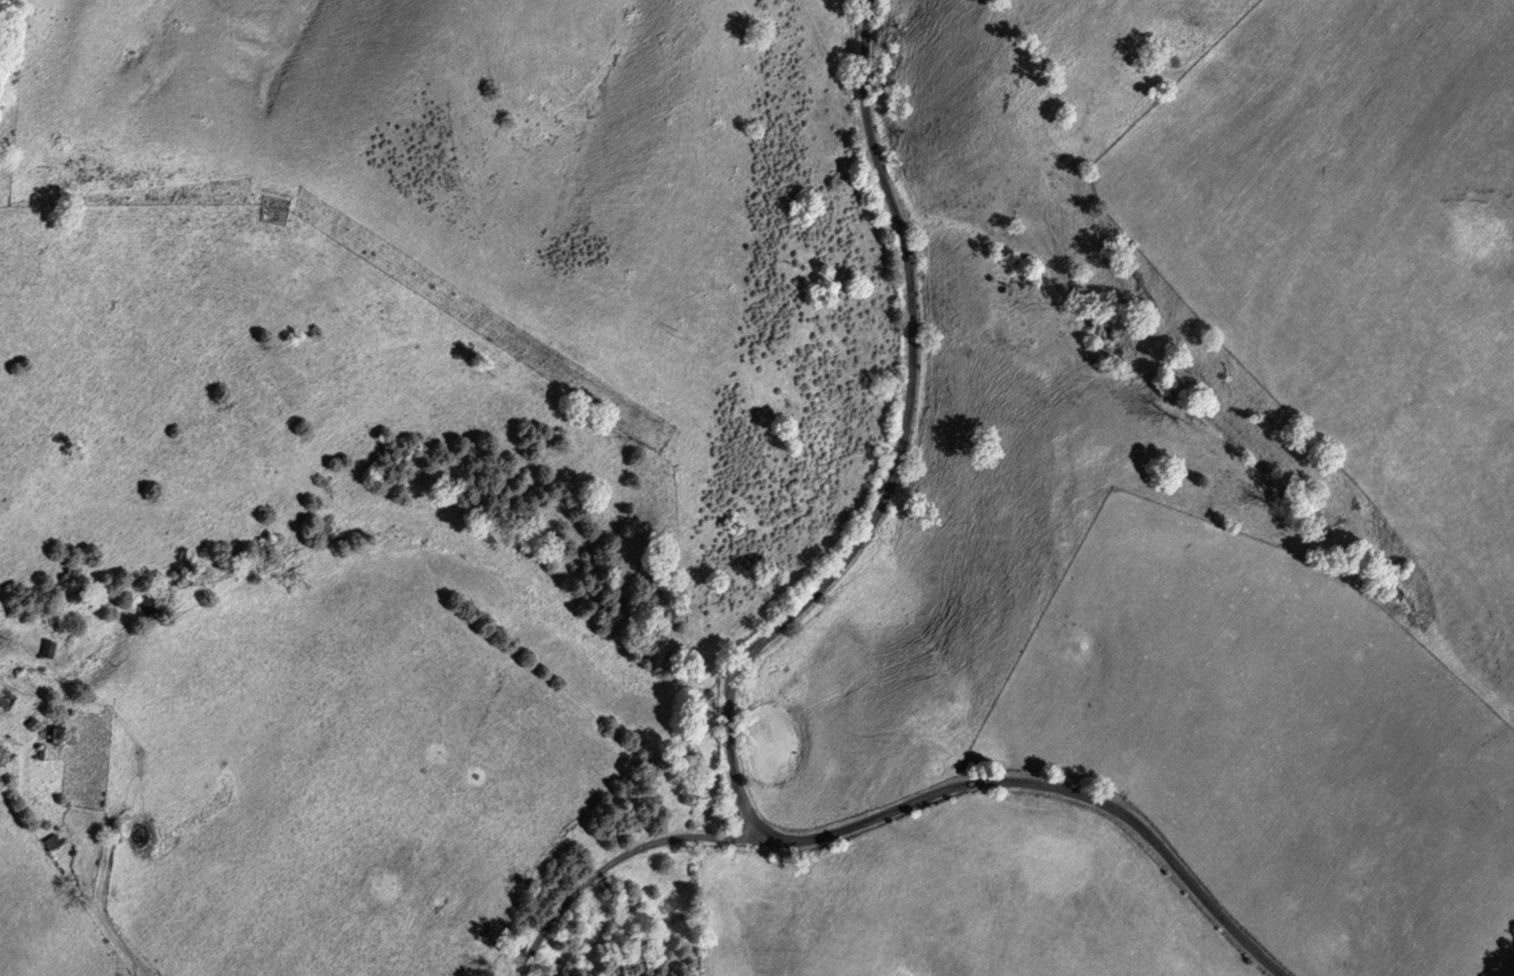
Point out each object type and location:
road: (905, 446)
building: (51, 648)
building: (6, 700)
building: (36, 723)
building: (63, 735)
building: (3, 754)
road: (1052, 787)
building: (56, 844)
road: (611, 861)
road: (86, 871)

